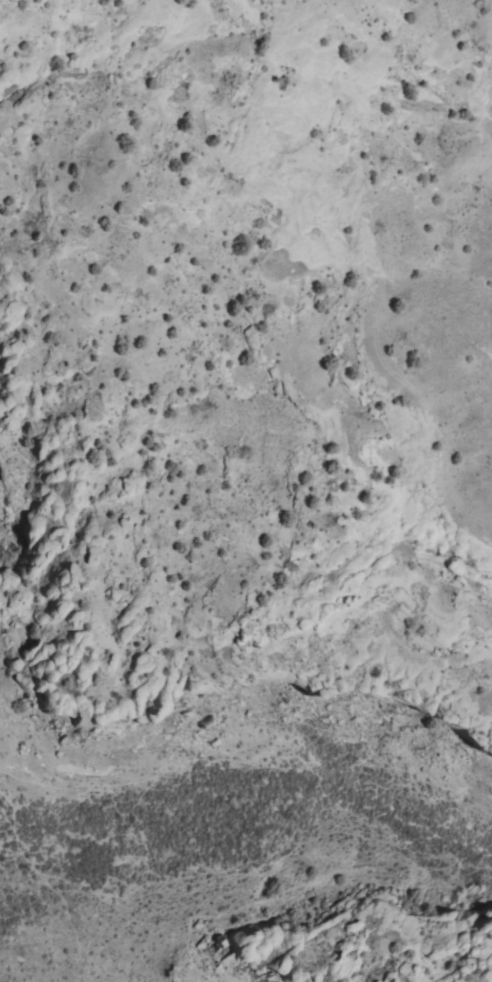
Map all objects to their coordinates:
road: (18, 947)

